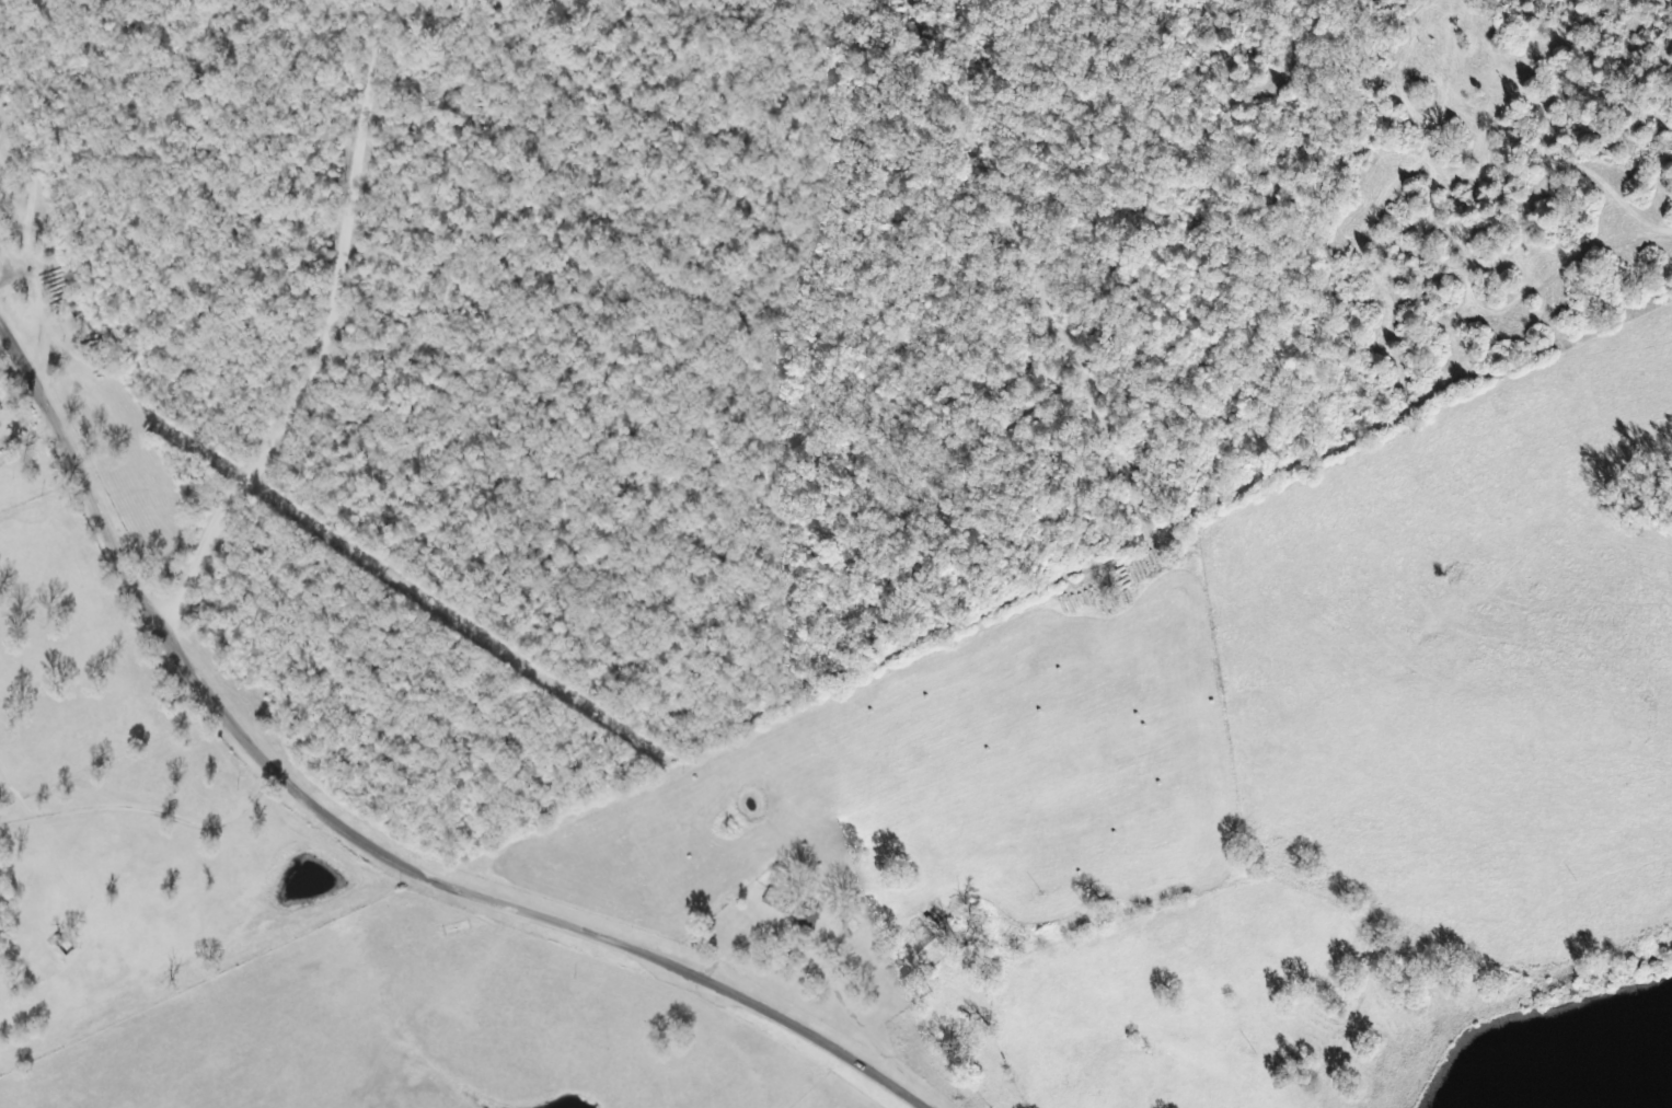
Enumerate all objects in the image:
road: (333, 324)
road: (143, 593)
building: (774, 901)
road: (610, 936)
road: (166, 991)
road: (1380, 1047)

